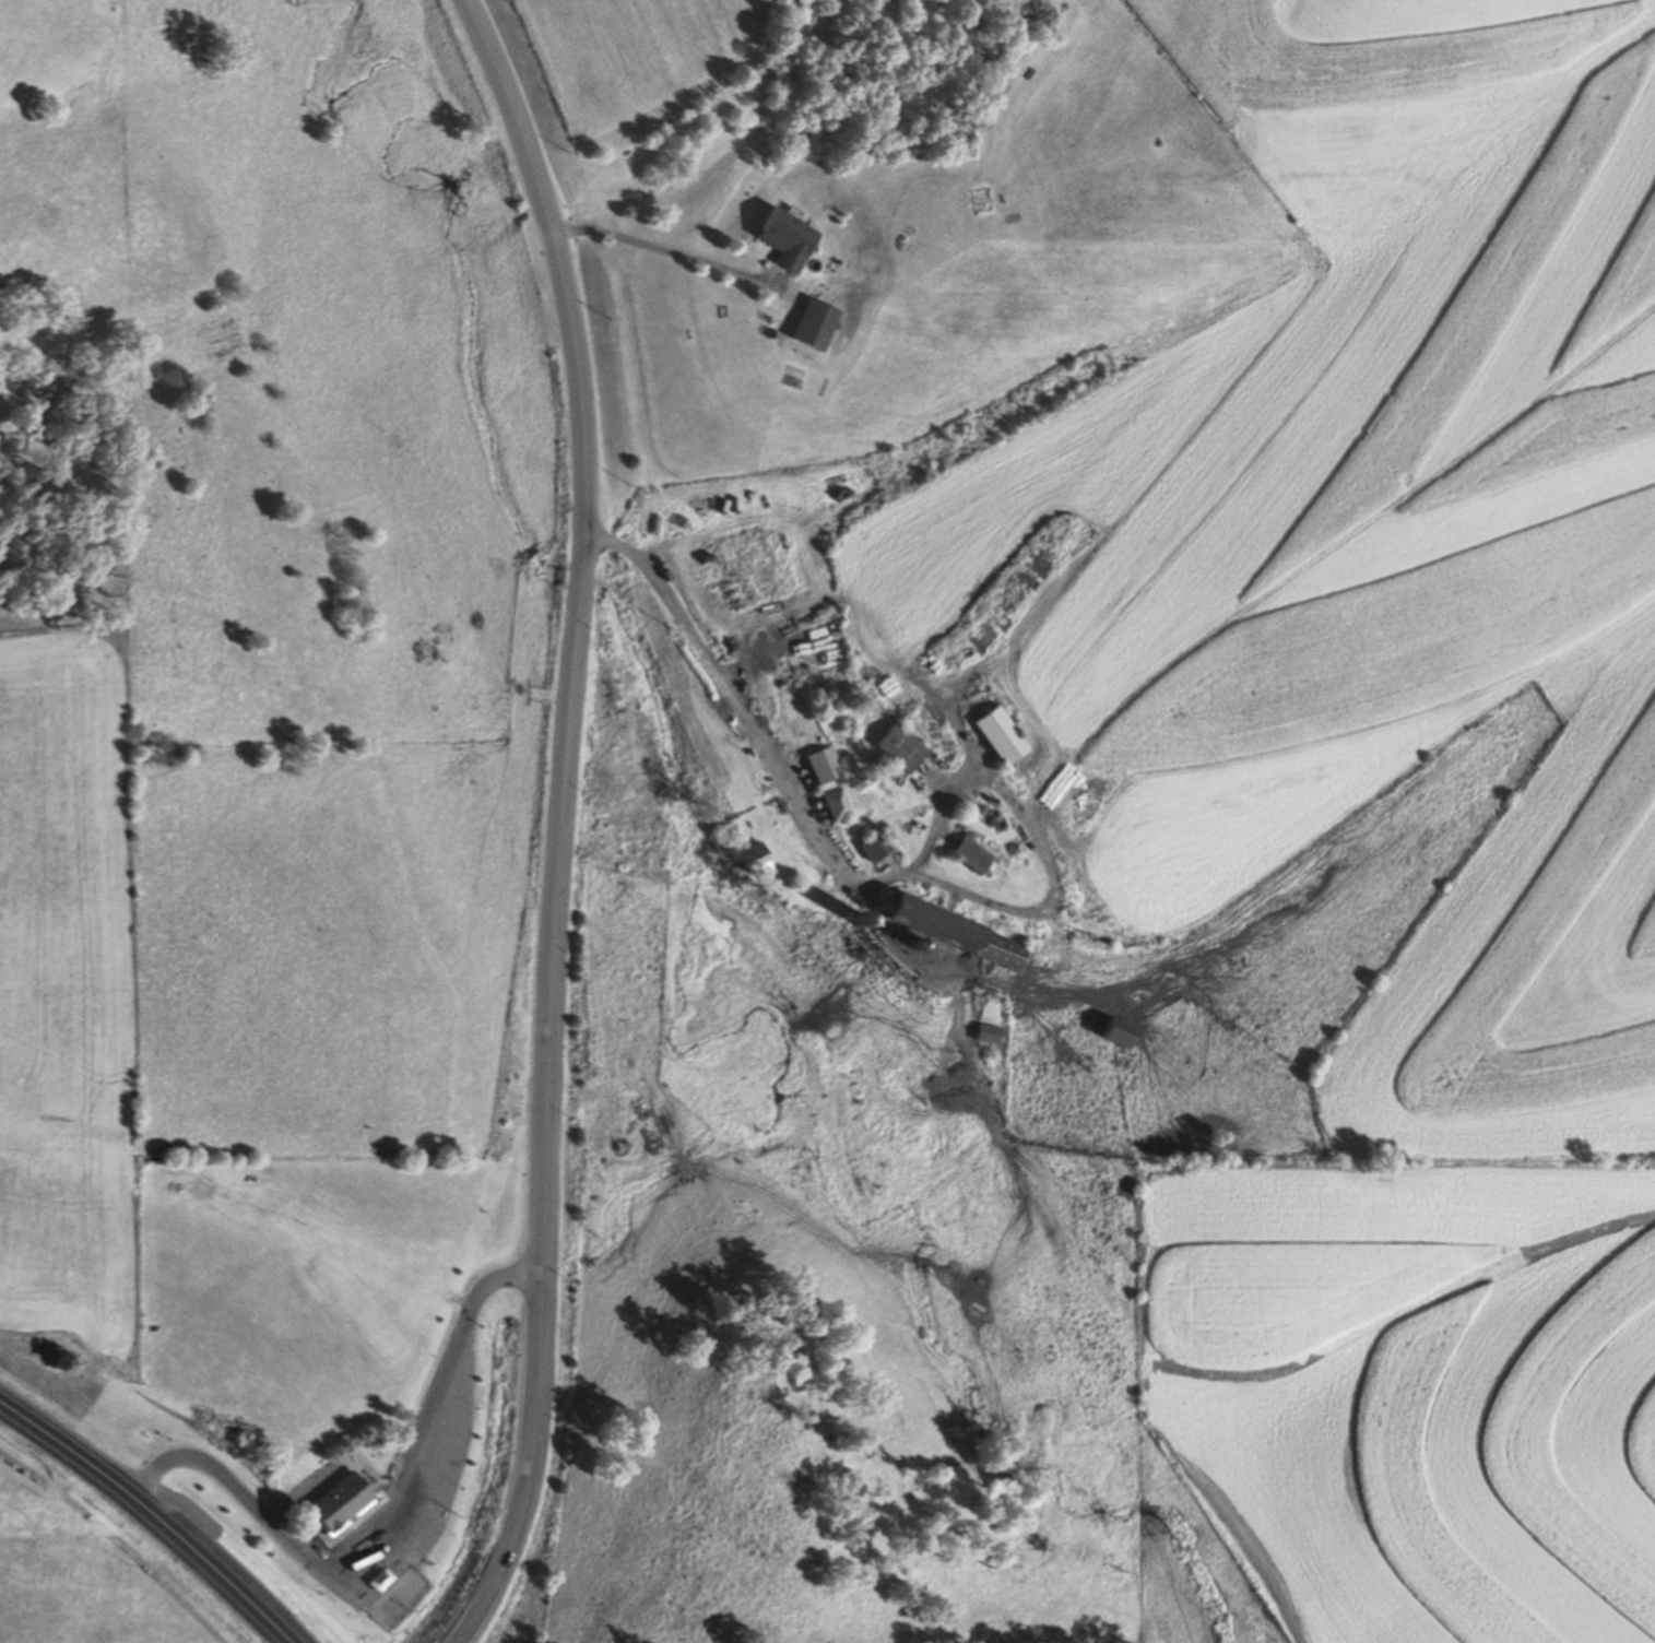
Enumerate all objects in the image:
building: (788, 238)
building: (1001, 735)
building: (900, 746)
building: (821, 764)
building: (835, 803)
road: (558, 820)
building: (874, 846)
road: (821, 847)
building: (970, 853)
building: (757, 860)
building: (956, 932)
building: (1119, 1032)
building: (988, 1033)
road: (64, 1444)
building: (348, 1475)
road: (383, 1528)
road: (211, 1565)

